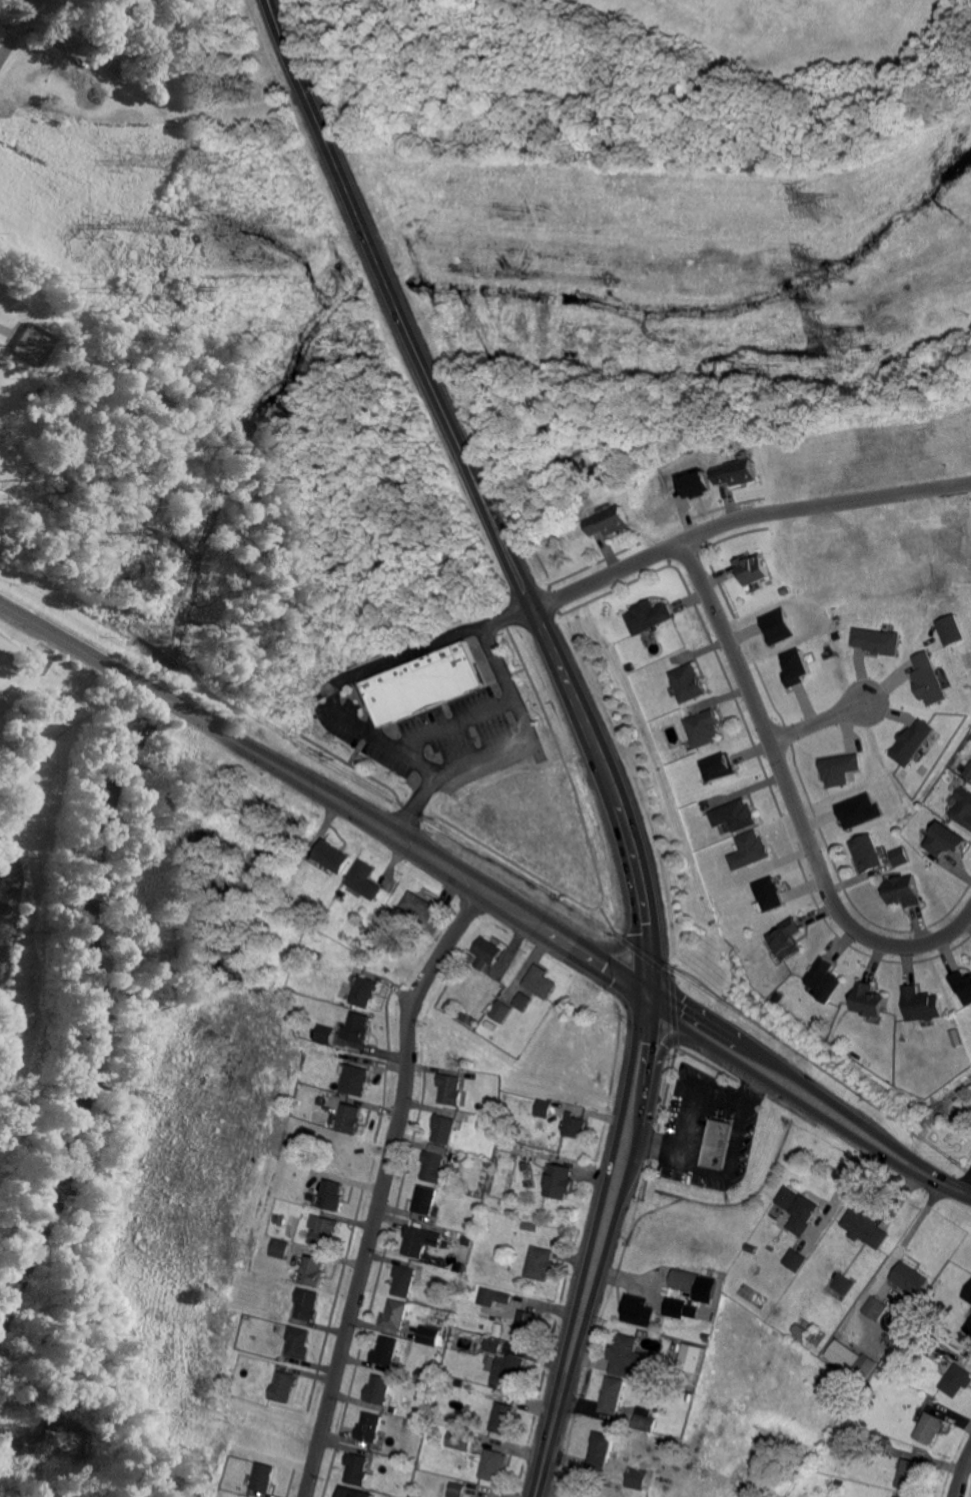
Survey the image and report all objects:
building: (157, 0)
building: (153, 1)
road: (18, 30)
building: (67, 36)
building: (114, 66)
power tower: (205, 160)
power tower: (829, 206)
power tower: (188, 223)
power tower: (839, 272)
power tower: (170, 287)
power tower: (851, 340)
building: (40, 391)
building: (28, 397)
building: (738, 473)
building: (696, 483)
road: (479, 492)
road: (743, 515)
building: (609, 523)
building: (752, 569)
building: (647, 617)
building: (775, 625)
building: (948, 628)
building: (875, 639)
river: (166, 663)
building: (793, 667)
building: (927, 677)
road: (340, 681)
building: (424, 684)
building: (687, 684)
river: (154, 691)
road: (821, 719)
road: (757, 722)
road: (209, 724)
building: (703, 729)
road: (522, 732)
building: (912, 740)
building: (718, 766)
building: (838, 767)
building: (968, 771)
building: (964, 808)
building: (856, 809)
building: (735, 816)
building: (890, 839)
building: (947, 840)
building: (749, 849)
building: (867, 853)
building: (898, 854)
building: (332, 857)
building: (365, 880)
building: (341, 892)
building: (768, 892)
building: (905, 892)
building: (420, 905)
road: (535, 921)
building: (787, 940)
road: (902, 942)
building: (401, 946)
building: (487, 952)
building: (467, 968)
building: (826, 980)
building: (541, 983)
building: (963, 986)
building: (366, 992)
traffic signals: (652, 995)
building: (777, 997)
building: (292, 998)
building: (521, 1000)
building: (869, 1000)
building: (923, 1005)
building: (502, 1011)
river: (95, 1016)
building: (467, 1018)
building: (357, 1029)
building: (323, 1035)
building: (354, 1078)
road: (799, 1078)
building: (450, 1090)
road: (789, 1095)
building: (544, 1108)
road: (738, 1108)
building: (349, 1119)
building: (574, 1126)
building: (444, 1127)
building: (719, 1144)
road: (682, 1149)
building: (433, 1164)
road: (964, 1178)
building: (560, 1181)
road: (383, 1185)
road: (954, 1187)
building: (332, 1195)
building: (425, 1198)
building: (283, 1209)
building: (799, 1210)
building: (531, 1226)
building: (866, 1227)
building: (325, 1233)
building: (419, 1240)
building: (465, 1240)
building: (279, 1246)
building: (749, 1246)
road: (599, 1247)
building: (796, 1258)
building: (541, 1263)
building: (313, 1269)
building: (912, 1278)
building: (403, 1279)
building: (686, 1281)
building: (845, 1284)
building: (968, 1293)
building: (503, 1299)
building: (306, 1304)
building: (675, 1307)
building: (877, 1308)
building: (637, 1310)
building: (395, 1313)
building: (434, 1322)
building: (526, 1324)
building: (969, 1327)
building: (909, 1329)
building: (801, 1331)
building: (429, 1335)
building: (707, 1336)
building: (925, 1341)
building: (297, 1342)
building: (493, 1345)
building: (385, 1349)
building: (623, 1355)
building: (846, 1356)
building: (690, 1361)
building: (509, 1372)
building: (422, 1374)
building: (957, 1380)
building: (282, 1387)
building: (379, 1388)
building: (870, 1390)
building: (613, 1394)
building: (691, 1396)
building: (503, 1417)
building: (645, 1419)
building: (369, 1425)
building: (930, 1427)
building: (435, 1429)
building: (461, 1441)
building: (663, 1442)
building: (880, 1443)
building: (601, 1450)
building: (494, 1464)
building: (357, 1469)
road: (962, 1473)
building: (911, 1474)
building: (264, 1476)
building: (640, 1478)
building: (744, 1481)
building: (841, 1483)
building: (443, 1486)
building: (457, 1489)
building: (356, 1493)
building: (414, 1496)
building: (895, 1496)

